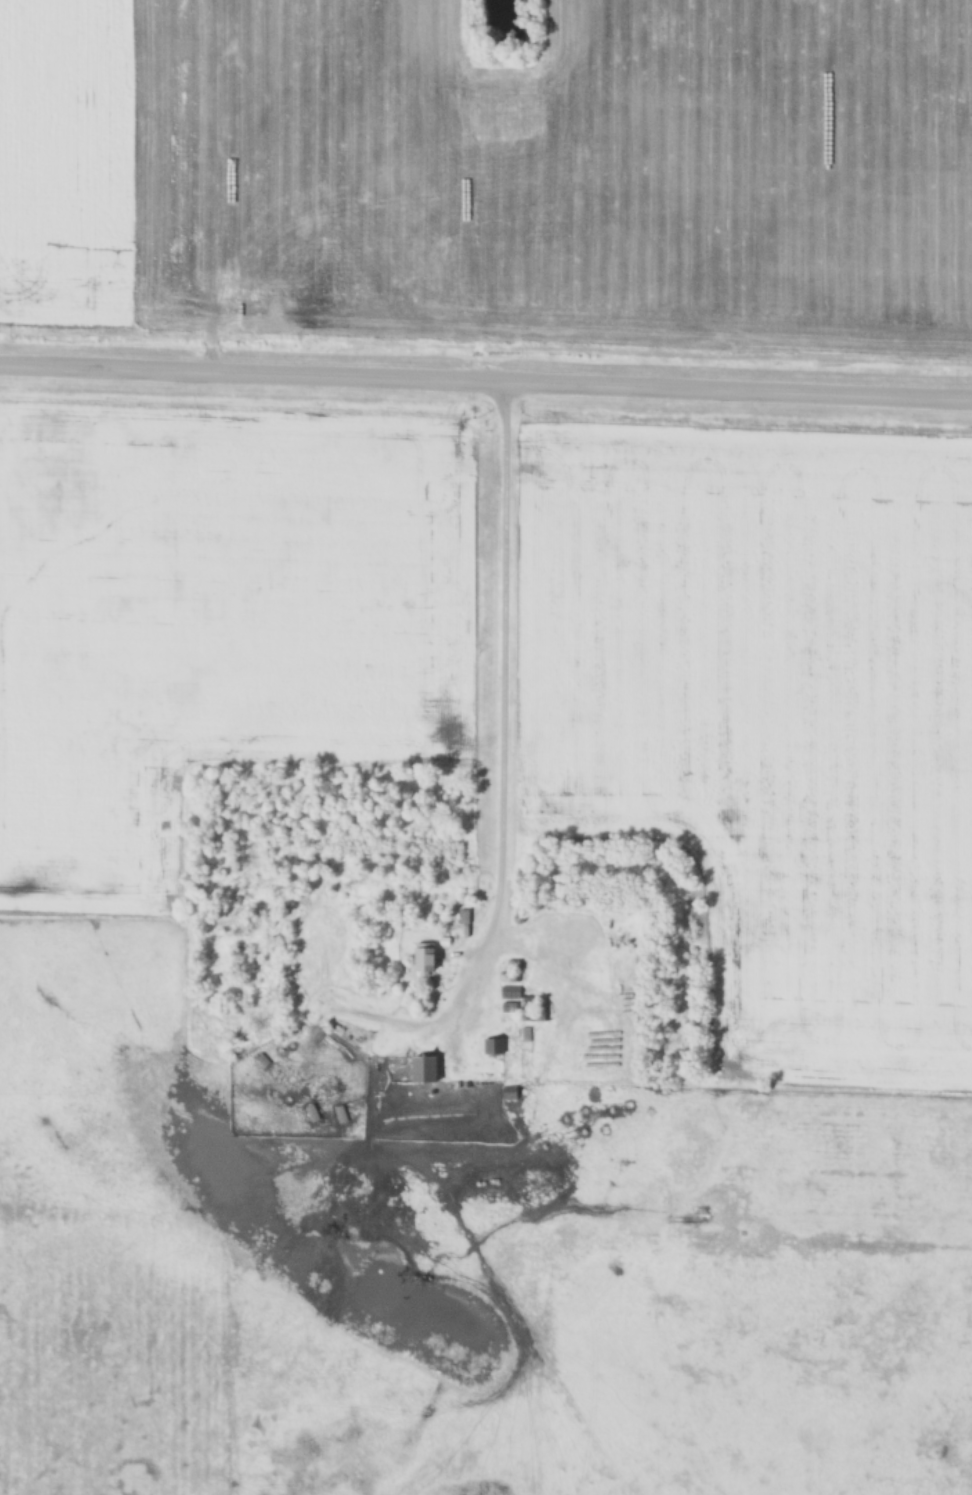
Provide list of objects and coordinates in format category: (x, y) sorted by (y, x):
road: (486, 386)
building: (464, 915)
building: (423, 960)
building: (509, 993)
building: (508, 1005)
building: (534, 1009)
building: (493, 1047)
building: (509, 1093)

